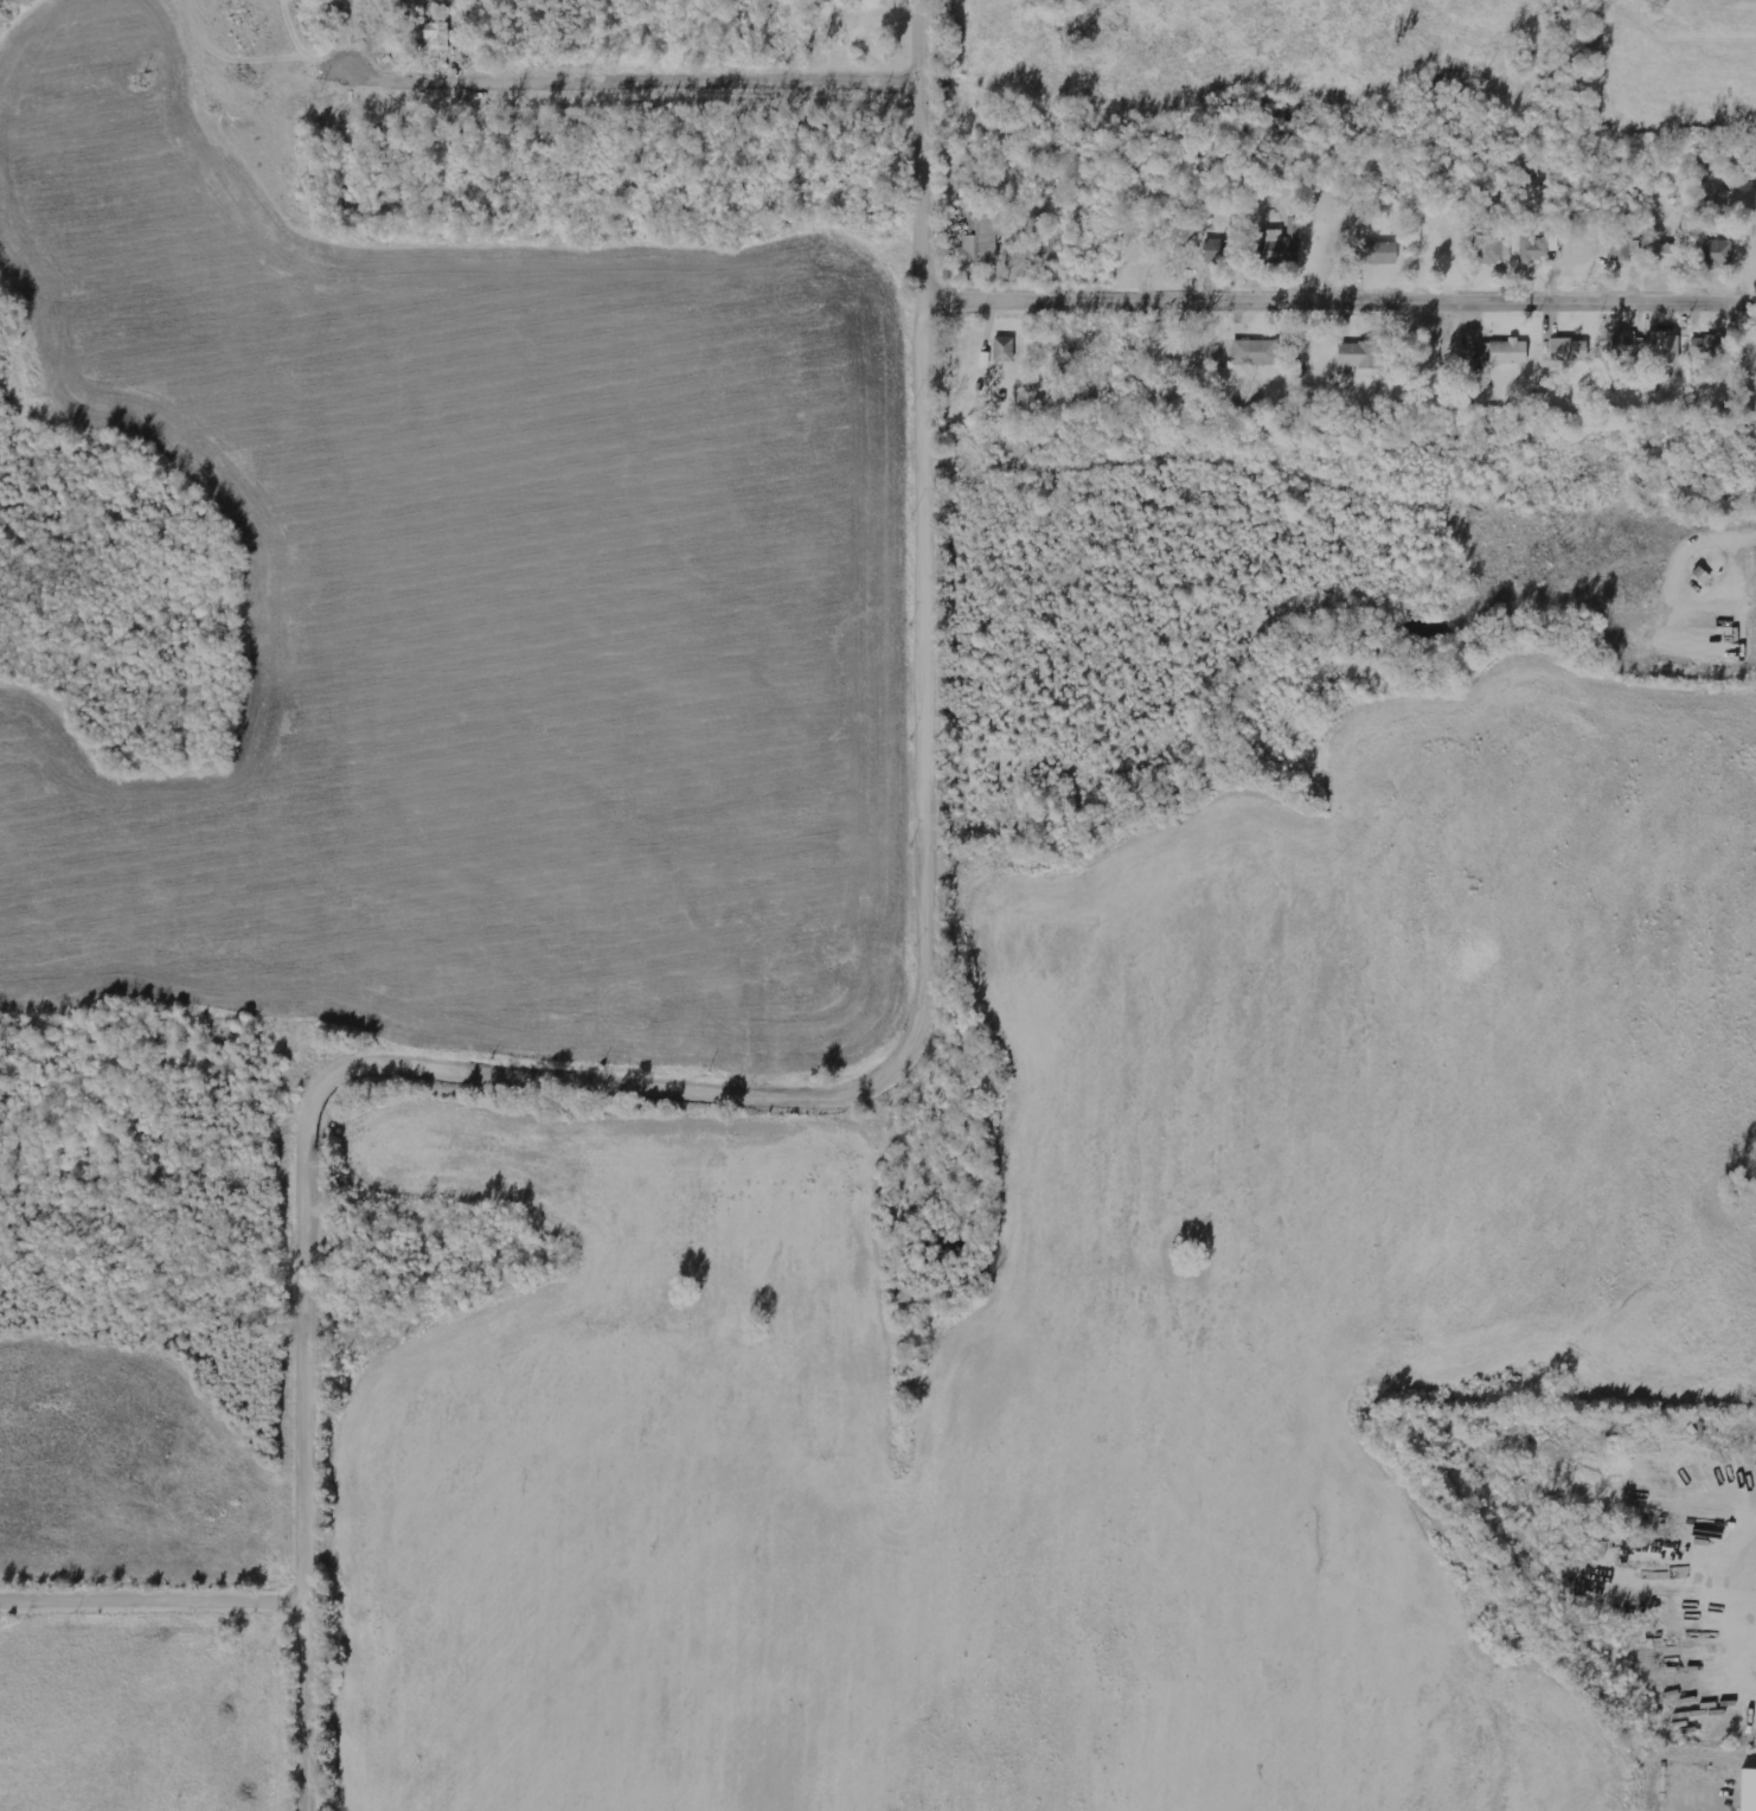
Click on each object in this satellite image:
building: (435, 36)
road: (629, 84)
building: (981, 241)
building: (1488, 249)
building: (1533, 249)
building: (1626, 249)
building: (1276, 250)
building: (1507, 250)
building: (1224, 251)
building: (1715, 252)
building: (1379, 254)
building: (1665, 255)
road: (1338, 302)
building: (1623, 344)
building: (1710, 345)
building: (1665, 347)
building: (1004, 350)
building: (1568, 350)
building: (1255, 352)
building: (1504, 352)
building: (1357, 357)
road: (1725, 535)
road: (922, 811)
road: (301, 1427)
road: (149, 1604)
building: (1748, 1790)

